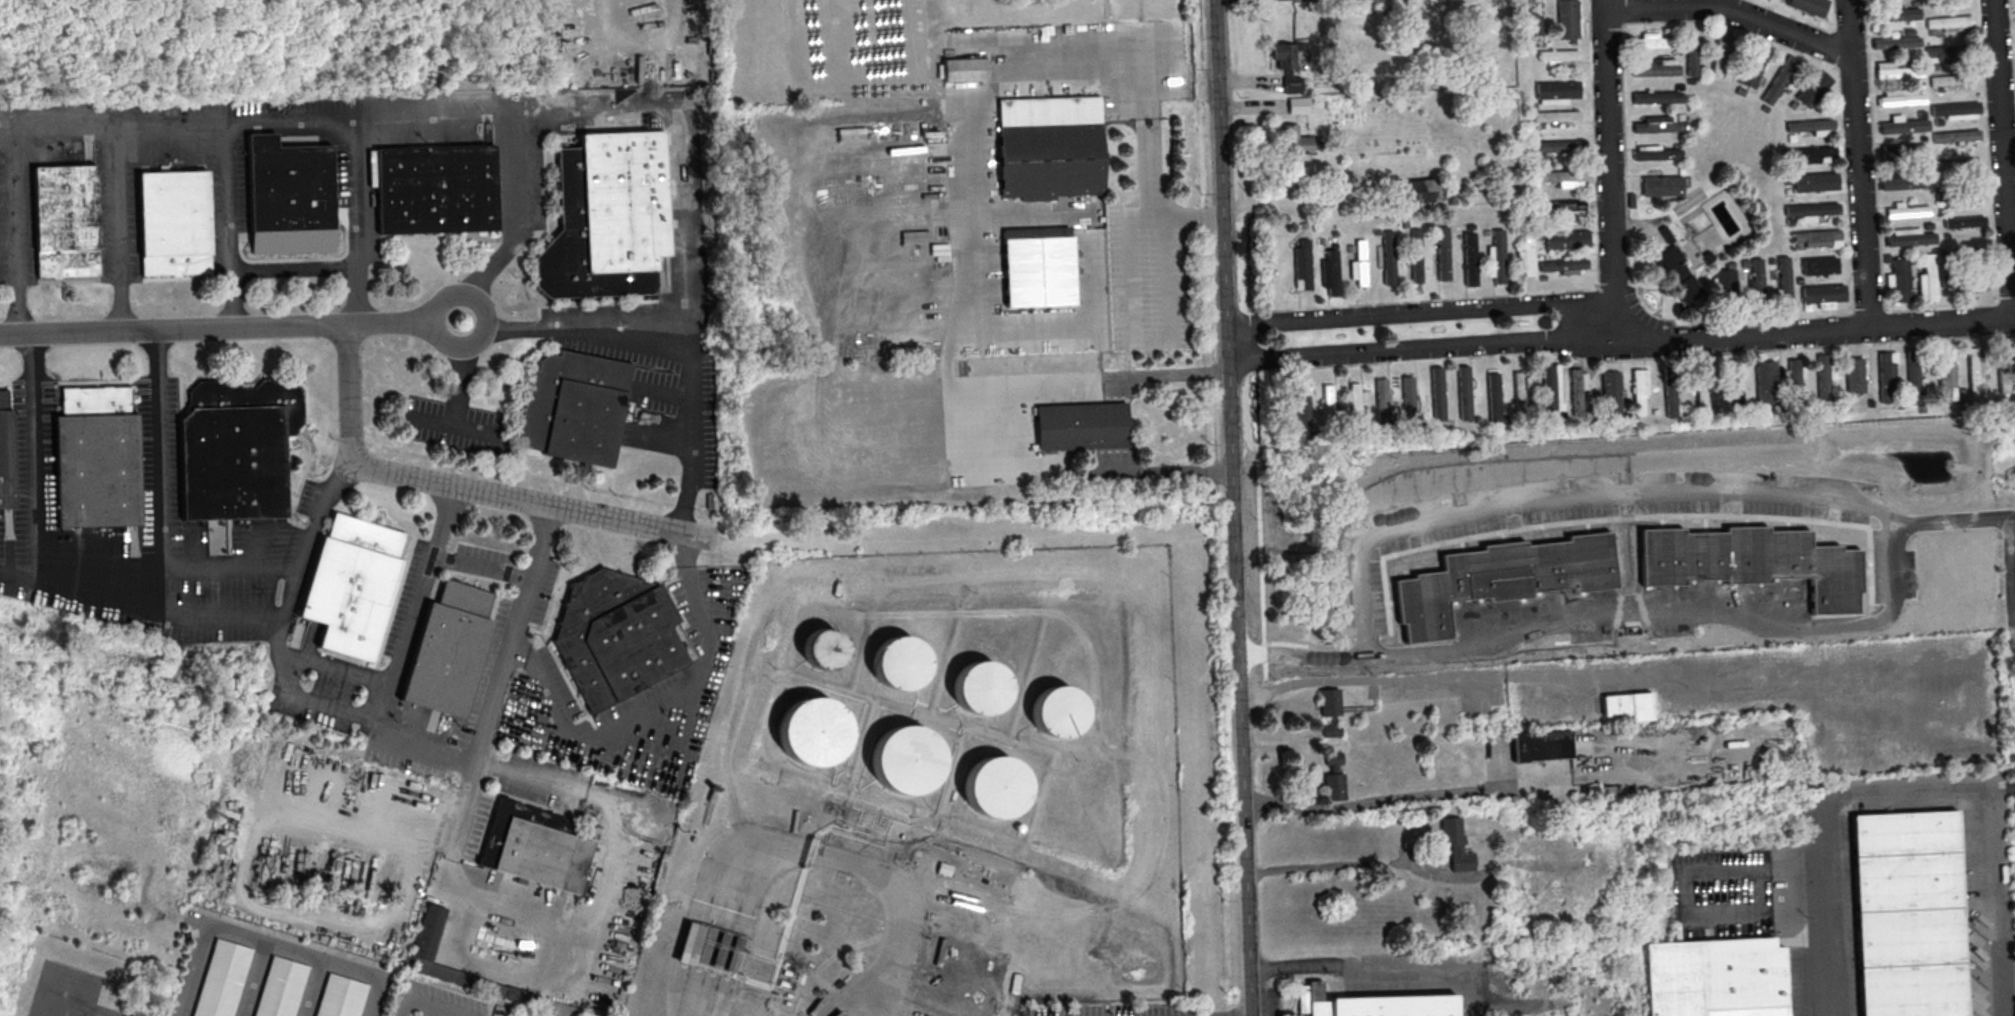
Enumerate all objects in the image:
building: (1809, 6)
road: (1730, 10)
building: (1897, 13)
building: (1567, 18)
building: (1535, 22)
building: (1950, 22)
building: (1650, 40)
road: (649, 41)
building: (1895, 42)
building: (1690, 51)
building: (1721, 53)
building: (1558, 54)
building: (1939, 56)
building: (1286, 64)
building: (1752, 65)
building: (1654, 66)
building: (965, 68)
building: (1896, 70)
building: (1778, 79)
building: (1952, 79)
building: (1813, 87)
building: (1557, 92)
building: (1657, 96)
building: (1900, 97)
building: (1298, 104)
building: (1955, 108)
road: (269, 115)
road: (557, 115)
building: (1556, 115)
building: (1960, 116)
building: (1659, 124)
building: (1809, 124)
building: (1902, 124)
road: (4, 125)
building: (1956, 135)
building: (1293, 140)
building: (1559, 145)
building: (1051, 148)
building: (1656, 154)
building: (1811, 154)
road: (2005, 158)
road: (1858, 163)
road: (1610, 165)
building: (1949, 166)
building: (1563, 177)
building: (1816, 181)
building: (1904, 181)
road: (683, 185)
building: (1662, 185)
building: (436, 188)
building: (1421, 190)
building: (289, 195)
road: (976, 200)
road: (1150, 200)
building: (1564, 206)
building: (1811, 210)
building: (1906, 210)
road: (1029, 215)
building: (607, 217)
road: (358, 218)
building: (65, 220)
building: (1964, 221)
building: (173, 222)
road: (227, 222)
road: (120, 226)
building: (1909, 237)
building: (1817, 238)
building: (1567, 239)
building: (1527, 251)
building: (1444, 253)
building: (1417, 255)
building: (1498, 256)
building: (1390, 257)
building: (1471, 258)
building: (1360, 263)
building: (1304, 264)
building: (1564, 264)
building: (1820, 265)
road: (294, 268)
building: (1039, 271)
building: (1331, 272)
building: (1678, 274)
building: (1757, 278)
building: (1927, 278)
building: (1899, 279)
building: (1725, 281)
building: (1784, 283)
building: (1823, 294)
road: (1412, 313)
road: (1066, 325)
road: (228, 328)
road: (673, 330)
road: (1802, 332)
road: (1140, 341)
road: (1412, 350)
building: (2003, 369)
building: (1974, 370)
building: (1855, 374)
building: (1947, 375)
building: (1913, 376)
building: (1887, 377)
road: (1167, 379)
building: (1822, 380)
building: (1794, 384)
building: (1733, 385)
building: (1766, 386)
building: (1464, 391)
building: (1549, 391)
building: (1576, 391)
building: (1638, 391)
building: (1669, 391)
building: (1702, 391)
building: (1437, 392)
building: (1611, 392)
building: (1408, 394)
building: (1381, 397)
building: (1520, 397)
building: (1494, 398)
road: (459, 400)
building: (1354, 401)
building: (1328, 403)
building: (575, 408)
building: (1300, 412)
road: (432, 424)
building: (1082, 425)
road: (31, 457)
building: (96, 458)
building: (6, 460)
building: (232, 462)
road: (164, 470)
road: (1170, 470)
road: (467, 489)
road: (1565, 500)
road: (1233, 507)
road: (313, 536)
building: (1751, 561)
road: (689, 563)
road: (481, 568)
road: (2012, 572)
building: (1501, 578)
building: (352, 584)
road: (413, 606)
road: (1679, 613)
building: (616, 635)
building: (827, 648)
building: (448, 649)
storage tank: (826, 649)
building: (901, 662)
storage tank: (901, 663)
road: (336, 668)
road: (1372, 681)
building: (982, 686)
storage tank: (983, 688)
road: (1723, 694)
building: (1628, 707)
building: (1059, 711)
storage tank: (1059, 712)
building: (1331, 712)
road: (624, 714)
road: (337, 715)
building: (814, 731)
storage tank: (815, 732)
building: (1542, 748)
building: (907, 759)
storage tank: (907, 760)
building: (1335, 780)
building: (996, 786)
storage tank: (997, 788)
road: (2000, 789)
road: (1904, 794)
road: (1402, 805)
building: (1456, 845)
building: (534, 846)
road: (1348, 865)
road: (1795, 865)
road: (875, 875)
road: (1686, 906)
building: (1908, 914)
road: (214, 923)
road: (596, 930)
building: (428, 935)
building: (715, 949)
road: (369, 974)
road: (1357, 976)
road: (254, 978)
building: (1716, 978)
building: (221, 979)
building: (280, 987)
road: (310, 987)
road: (903, 994)
building: (340, 996)
road: (429, 1002)
building: (1374, 1004)
building: (559, 1008)
road: (58, 1011)
building: (839, 1013)

